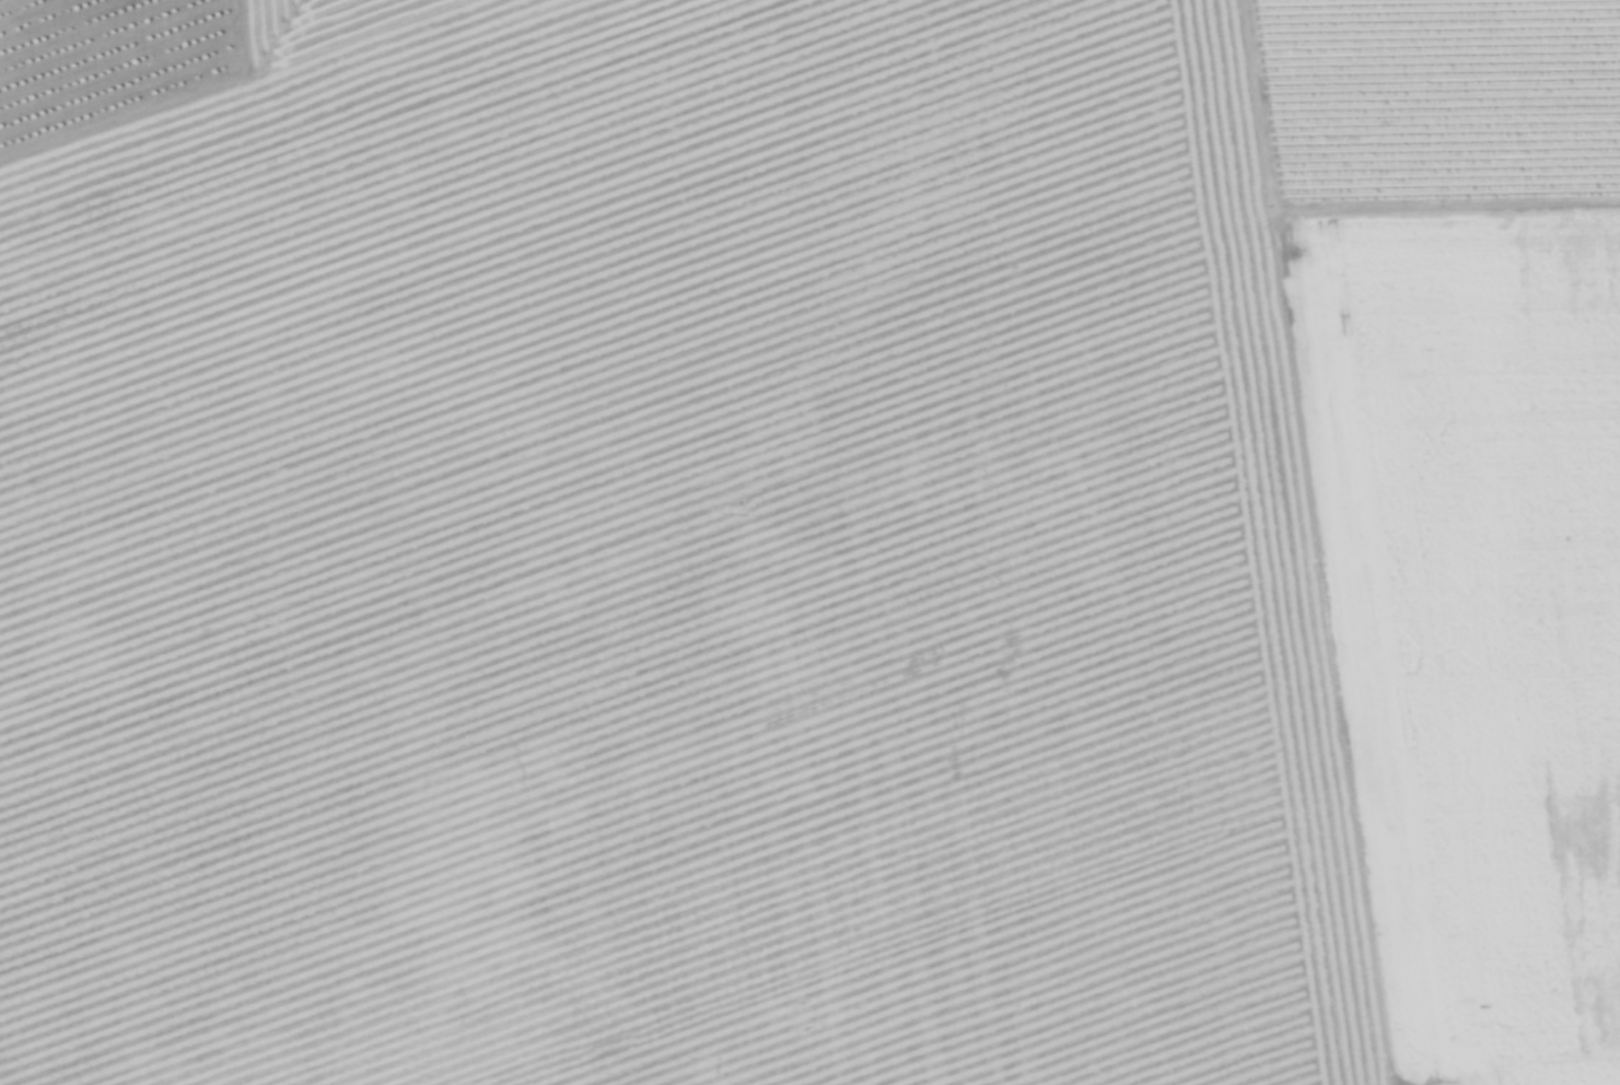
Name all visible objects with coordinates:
road: (1251, 102)
road: (1443, 207)
crop: (820, 549)
road: (1330, 644)
road: (1546, 1061)

